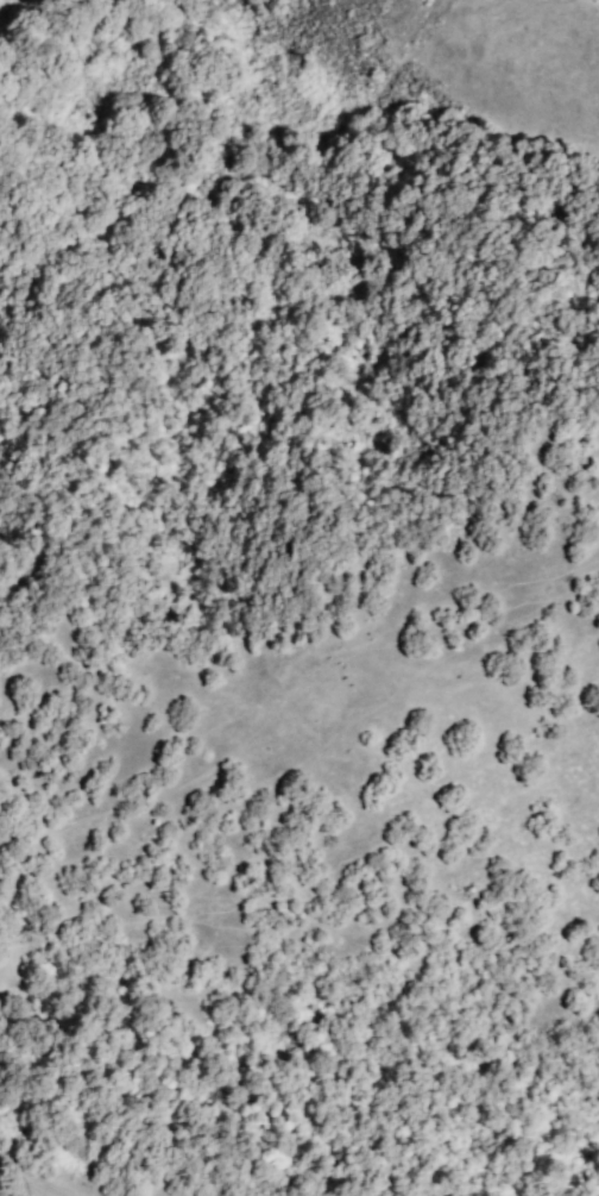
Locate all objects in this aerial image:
road: (49, 43)

